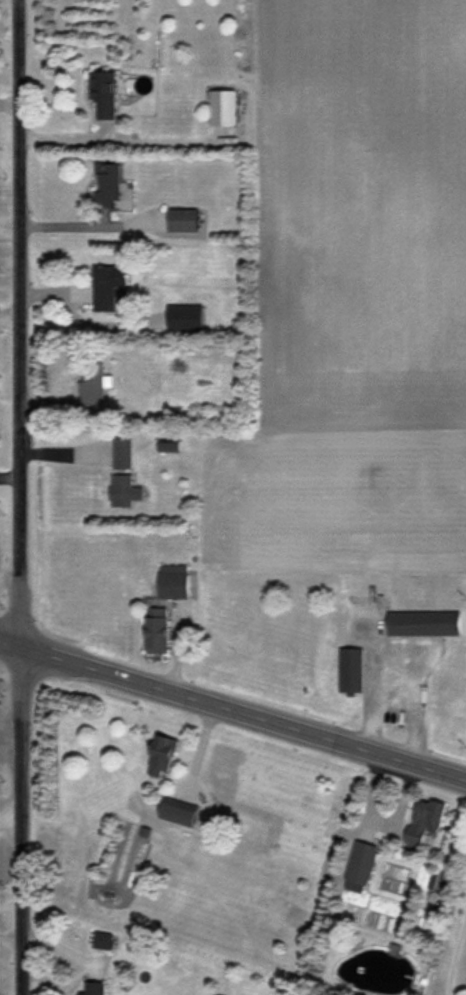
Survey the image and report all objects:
building: (105, 94)
building: (227, 106)
building: (113, 185)
building: (188, 219)
building: (110, 286)
building: (190, 317)
building: (127, 474)
road: (21, 497)
building: (178, 584)
building: (427, 622)
building: (168, 629)
building: (352, 669)
road: (410, 682)
road: (233, 712)
building: (166, 754)
building: (183, 812)
building: (427, 819)
building: (365, 861)
building: (104, 940)
road: (455, 959)
building: (97, 988)

